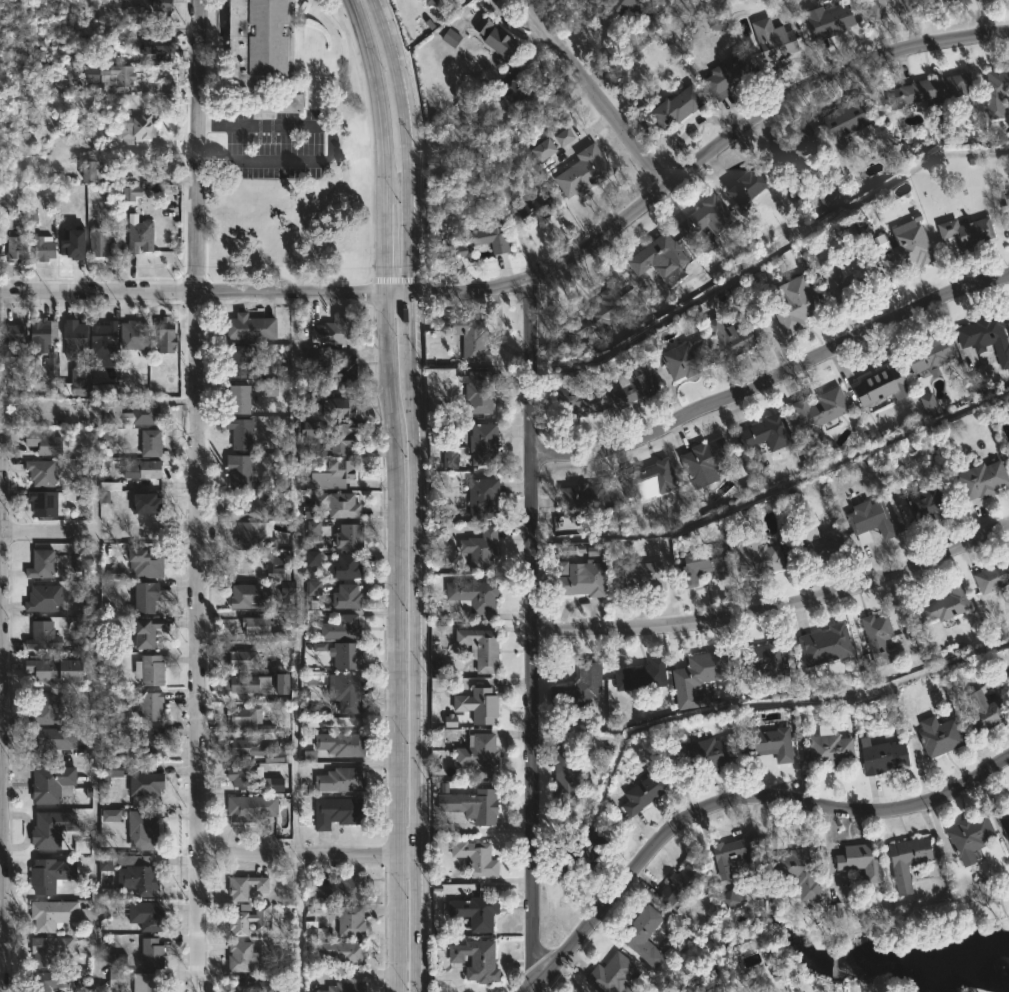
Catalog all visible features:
building: (955, 0)
building: (434, 2)
building: (164, 4)
building: (901, 5)
building: (873, 7)
building: (625, 10)
building: (824, 19)
building: (717, 22)
building: (483, 26)
building: (450, 37)
building: (772, 39)
building: (264, 43)
building: (502, 43)
building: (159, 45)
building: (724, 74)
building: (127, 77)
building: (516, 89)
building: (995, 89)
building: (928, 90)
road: (594, 91)
building: (282, 103)
building: (674, 105)
building: (841, 121)
building: (136, 128)
building: (563, 137)
road: (384, 143)
road: (408, 143)
road: (329, 144)
building: (794, 144)
building: (543, 149)
road: (702, 158)
building: (90, 166)
building: (586, 171)
building: (744, 186)
building: (131, 192)
building: (830, 198)
building: (534, 202)
building: (1006, 215)
building: (705, 216)
building: (5, 224)
building: (863, 227)
building: (963, 232)
building: (842, 233)
building: (141, 235)
building: (490, 237)
building: (101, 243)
building: (73, 245)
building: (16, 247)
building: (45, 248)
building: (904, 251)
road: (767, 253)
building: (657, 256)
building: (841, 280)
road: (200, 288)
building: (794, 304)
building: (1008, 310)
building: (596, 315)
building: (1007, 317)
building: (251, 326)
building: (335, 329)
building: (134, 334)
building: (166, 334)
building: (41, 336)
building: (470, 336)
building: (731, 337)
building: (983, 337)
building: (77, 339)
building: (105, 344)
building: (12, 345)
building: (925, 355)
building: (685, 358)
building: (241, 360)
building: (50, 361)
building: (343, 365)
building: (79, 375)
road: (774, 377)
building: (877, 387)
building: (630, 388)
building: (269, 389)
building: (103, 390)
building: (482, 391)
building: (574, 394)
building: (240, 398)
building: (929, 405)
building: (341, 407)
building: (816, 411)
building: (113, 412)
building: (147, 413)
building: (769, 431)
building: (243, 432)
building: (347, 434)
building: (44, 441)
building: (152, 441)
building: (486, 444)
building: (454, 458)
building: (706, 460)
building: (151, 468)
building: (241, 469)
building: (42, 471)
building: (331, 473)
building: (647, 480)
building: (978, 480)
building: (109, 486)
road: (774, 488)
road: (196, 495)
building: (484, 497)
building: (47, 501)
building: (585, 501)
building: (149, 502)
building: (922, 503)
building: (340, 504)
building: (257, 507)
building: (866, 520)
building: (314, 530)
road: (98, 532)
building: (251, 534)
building: (351, 535)
building: (817, 547)
building: (483, 548)
building: (753, 556)
building: (312, 558)
building: (141, 559)
building: (43, 563)
building: (704, 563)
building: (278, 564)
building: (348, 566)
road: (297, 571)
building: (578, 575)
building: (646, 575)
building: (991, 576)
building: (287, 587)
building: (313, 587)
building: (476, 595)
building: (147, 596)
building: (253, 596)
building: (348, 596)
building: (45, 597)
building: (944, 603)
road: (776, 609)
building: (259, 625)
building: (344, 627)
building: (148, 632)
road: (738, 632)
road: (530, 634)
building: (43, 635)
building: (875, 637)
road: (409, 640)
building: (824, 645)
building: (483, 646)
building: (348, 655)
building: (245, 659)
building: (763, 661)
building: (708, 667)
building: (59, 669)
building: (152, 669)
building: (643, 675)
building: (246, 683)
building: (281, 684)
building: (576, 686)
building: (348, 691)
road: (746, 701)
building: (480, 704)
building: (153, 705)
building: (50, 708)
building: (983, 712)
building: (246, 715)
building: (450, 720)
building: (935, 736)
building: (153, 741)
building: (53, 742)
building: (344, 743)
building: (764, 743)
building: (242, 746)
building: (827, 749)
building: (273, 754)
building: (481, 754)
building: (707, 755)
building: (881, 757)
road: (92, 761)
building: (112, 770)
building: (241, 775)
building: (568, 778)
building: (343, 779)
building: (53, 784)
building: (147, 784)
building: (270, 784)
building: (643, 791)
road: (736, 802)
building: (479, 805)
building: (253, 807)
building: (339, 812)
building: (110, 815)
building: (1002, 820)
building: (145, 830)
building: (58, 832)
building: (966, 834)
road: (0, 846)
building: (587, 846)
road: (303, 853)
building: (733, 856)
building: (478, 857)
building: (124, 861)
building: (856, 861)
building: (903, 861)
building: (796, 872)
building: (51, 874)
building: (135, 881)
building: (247, 886)
building: (678, 886)
building: (343, 889)
building: (731, 897)
building: (476, 912)
building: (146, 914)
building: (55, 916)
building: (347, 919)
building: (251, 920)
road: (298, 923)
building: (641, 933)
building: (52, 950)
building: (342, 951)
building: (153, 953)
building: (246, 957)
building: (120, 960)
building: (478, 960)
building: (613, 974)
building: (116, 979)
building: (49, 981)
building: (150, 982)
building: (250, 986)
building: (348, 987)

